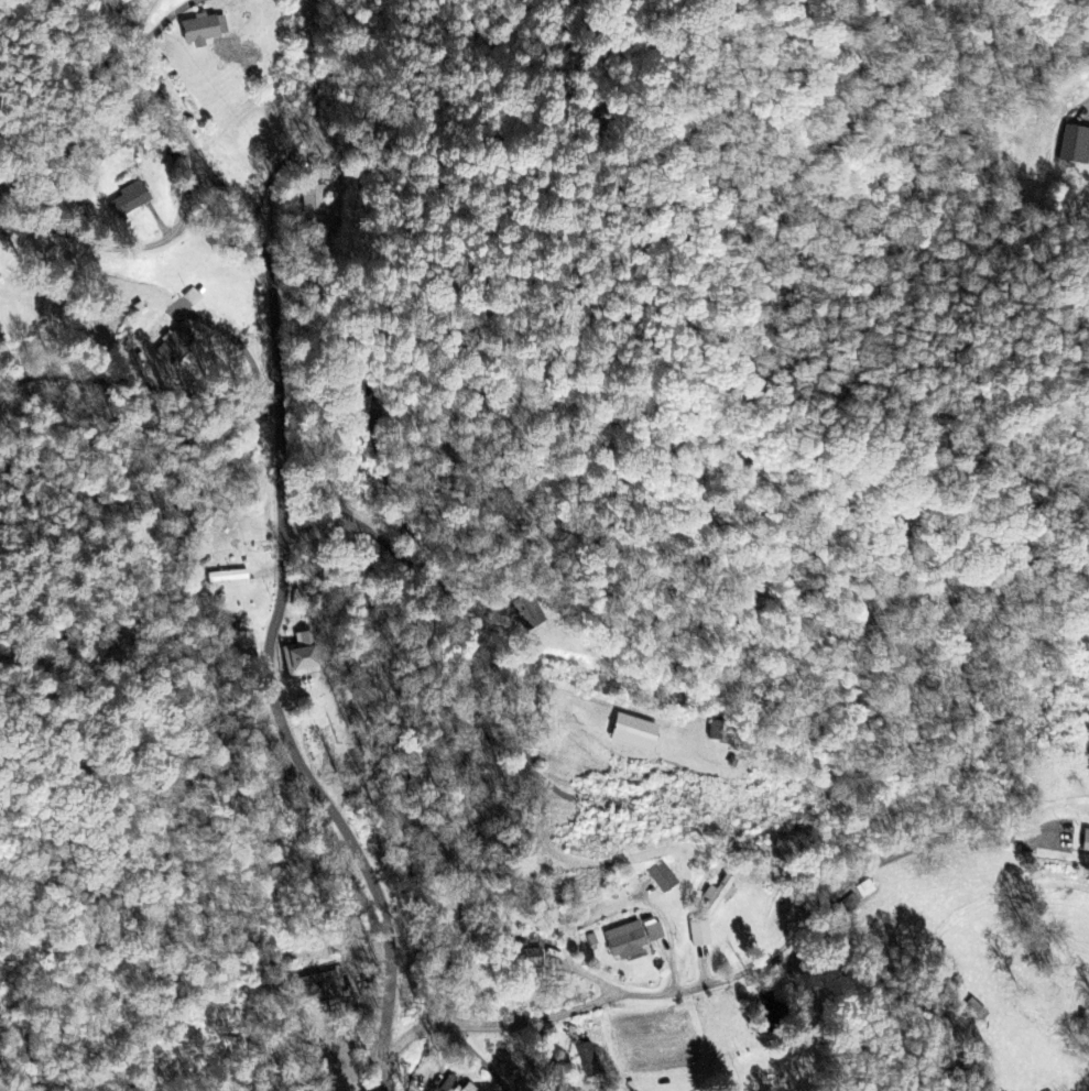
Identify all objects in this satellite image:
building: (206, 30)
road: (249, 248)
road: (121, 249)
building: (176, 347)
road: (460, 626)
building: (638, 733)
road: (311, 814)
building: (1085, 843)
building: (1088, 858)
building: (666, 879)
building: (720, 893)
building: (704, 934)
building: (633, 940)
road: (700, 983)
road: (439, 1059)
building: (470, 1088)

